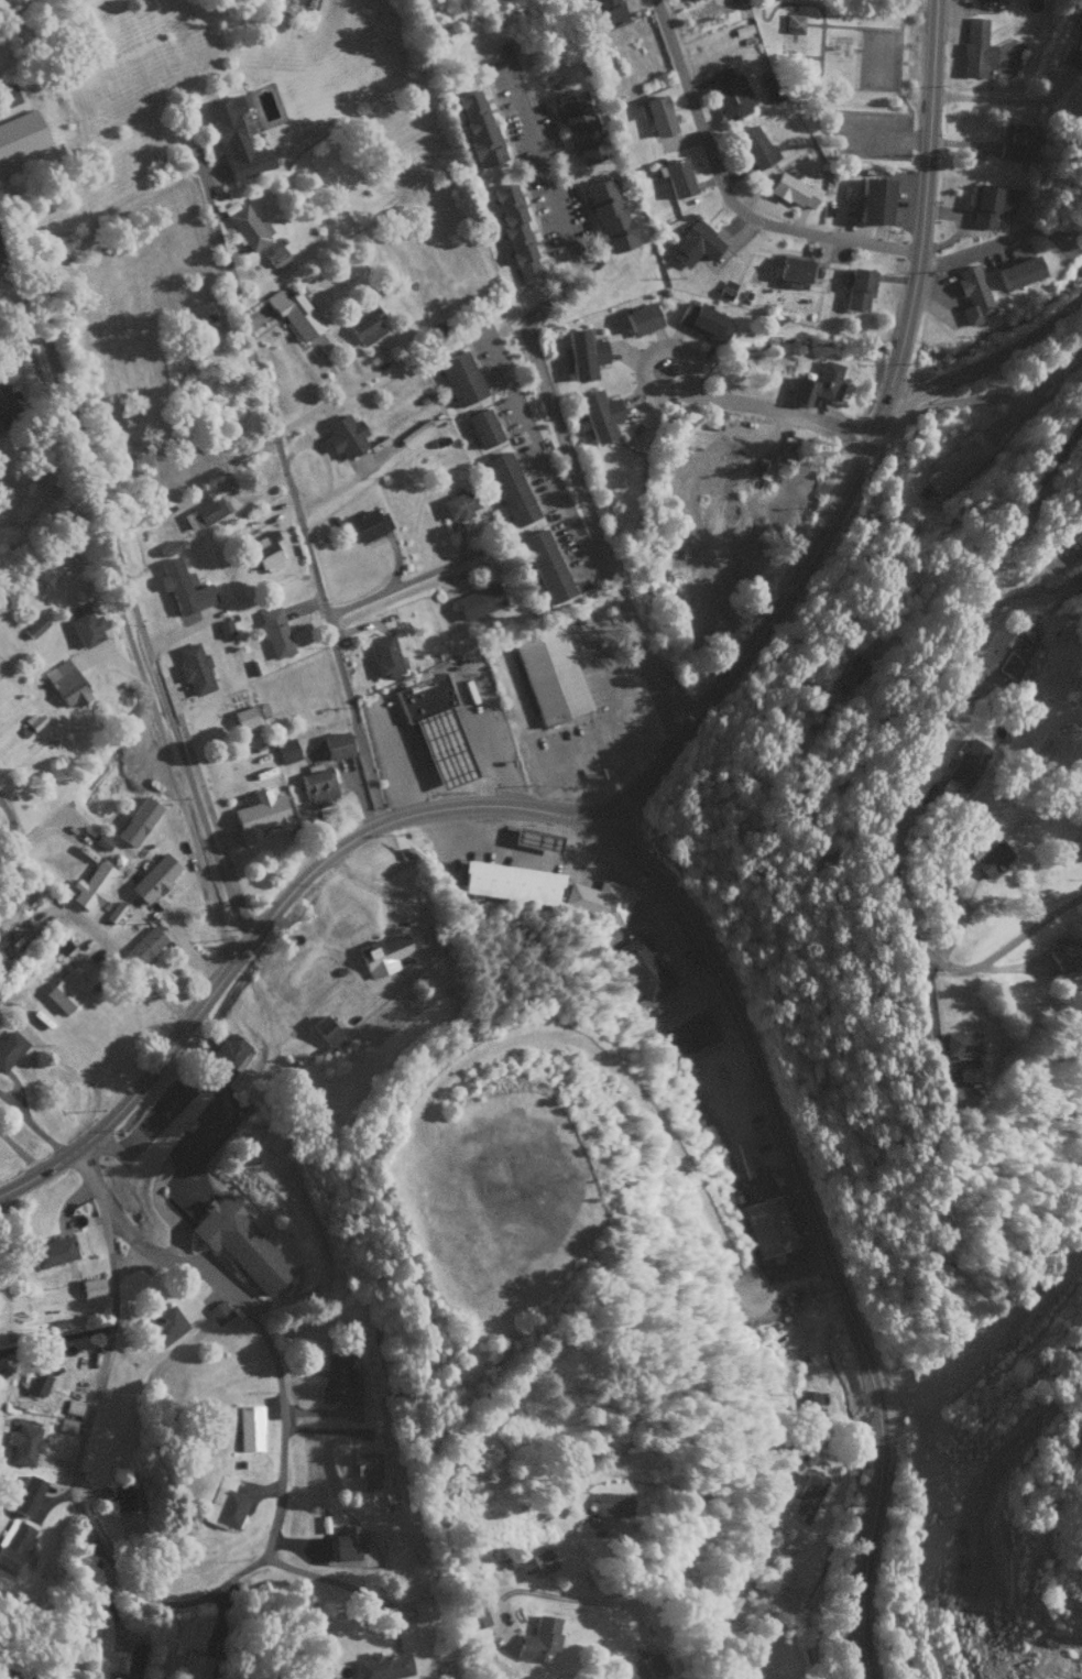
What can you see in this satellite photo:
building: (684, 0)
building: (608, 11)
building: (791, 22)
building: (1074, 46)
building: (974, 47)
building: (729, 91)
road: (981, 98)
building: (477, 127)
building: (579, 127)
building: (233, 140)
building: (1013, 141)
building: (755, 146)
building: (675, 177)
building: (793, 189)
road: (723, 195)
building: (873, 200)
building: (988, 204)
building: (608, 215)
building: (248, 227)
building: (515, 233)
building: (693, 242)
road: (975, 250)
building: (275, 257)
building: (1017, 271)
building: (791, 272)
building: (856, 287)
building: (725, 288)
building: (972, 294)
building: (293, 314)
building: (641, 319)
building: (702, 321)
building: (365, 325)
building: (582, 355)
road: (990, 359)
building: (458, 378)
building: (816, 383)
building: (4, 405)
building: (598, 414)
building: (481, 427)
building: (343, 435)
road: (603, 439)
road: (855, 448)
building: (954, 461)
road: (287, 482)
building: (507, 488)
building: (457, 504)
building: (199, 514)
building: (368, 524)
building: (1078, 537)
building: (264, 552)
building: (544, 565)
road: (400, 585)
road: (515, 587)
road: (129, 597)
building: (477, 601)
building: (34, 625)
building: (84, 626)
building: (225, 628)
building: (273, 632)
building: (382, 655)
building: (1017, 656)
building: (193, 668)
building: (853, 668)
building: (549, 674)
building: (65, 683)
building: (243, 718)
building: (435, 727)
building: (335, 744)
building: (285, 751)
building: (968, 763)
road: (914, 765)
building: (317, 787)
building: (256, 814)
building: (138, 820)
road: (9, 826)
building: (101, 841)
building: (991, 858)
building: (153, 877)
building: (507, 882)
building: (92, 884)
building: (599, 900)
building: (14, 906)
building: (114, 912)
road: (262, 918)
road: (389, 920)
road: (420, 920)
building: (3, 935)
building: (143, 945)
building: (62, 946)
building: (1065, 953)
building: (381, 955)
building: (642, 967)
building: (70, 983)
building: (327, 1032)
building: (960, 1043)
building: (10, 1047)
building: (230, 1049)
road: (205, 1083)
parking lot: (190, 1132)
building: (766, 1225)
road: (816, 1231)
building: (239, 1241)
building: (52, 1251)
building: (91, 1287)
road: (272, 1299)
building: (218, 1311)
building: (164, 1324)
road: (806, 1345)
road: (269, 1352)
building: (338, 1380)
building: (36, 1383)
building: (806, 1402)
building: (72, 1406)
road: (766, 1424)
building: (66, 1425)
building: (249, 1427)
road: (79, 1437)
building: (22, 1444)
building: (368, 1468)
building: (25, 1495)
building: (121, 1496)
building: (802, 1498)
building: (225, 1503)
building: (611, 1503)
road: (693, 1505)
building: (347, 1544)
building: (15, 1545)
building: (28, 1562)
building: (534, 1563)
road: (601, 1602)
building: (423, 1610)
building: (474, 1614)
building: (538, 1639)
building: (133, 1660)
building: (646, 1665)
building: (382, 1666)
building: (195, 1667)

